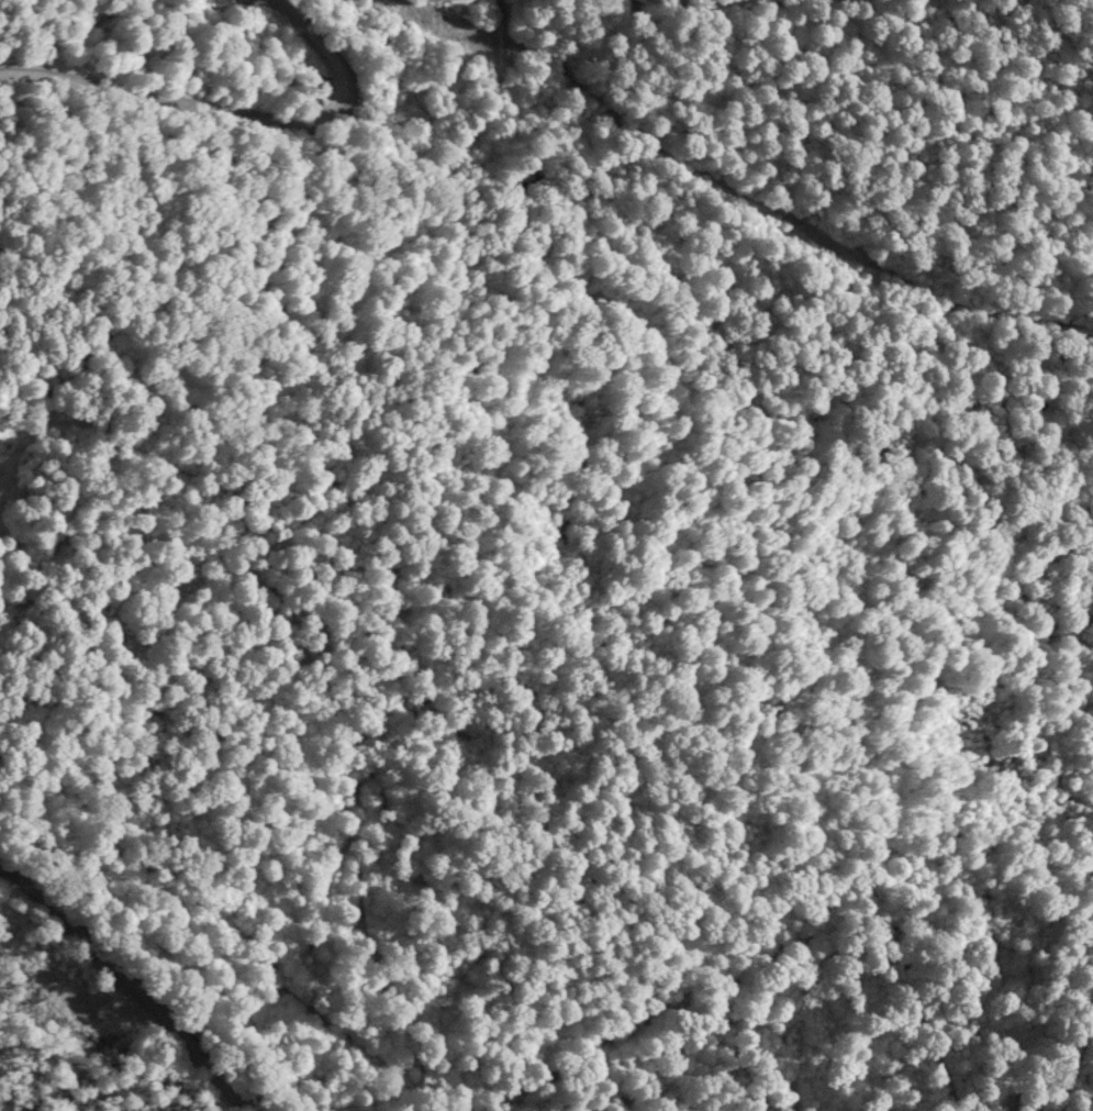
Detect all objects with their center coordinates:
road: (234, 109)
road: (141, 988)

